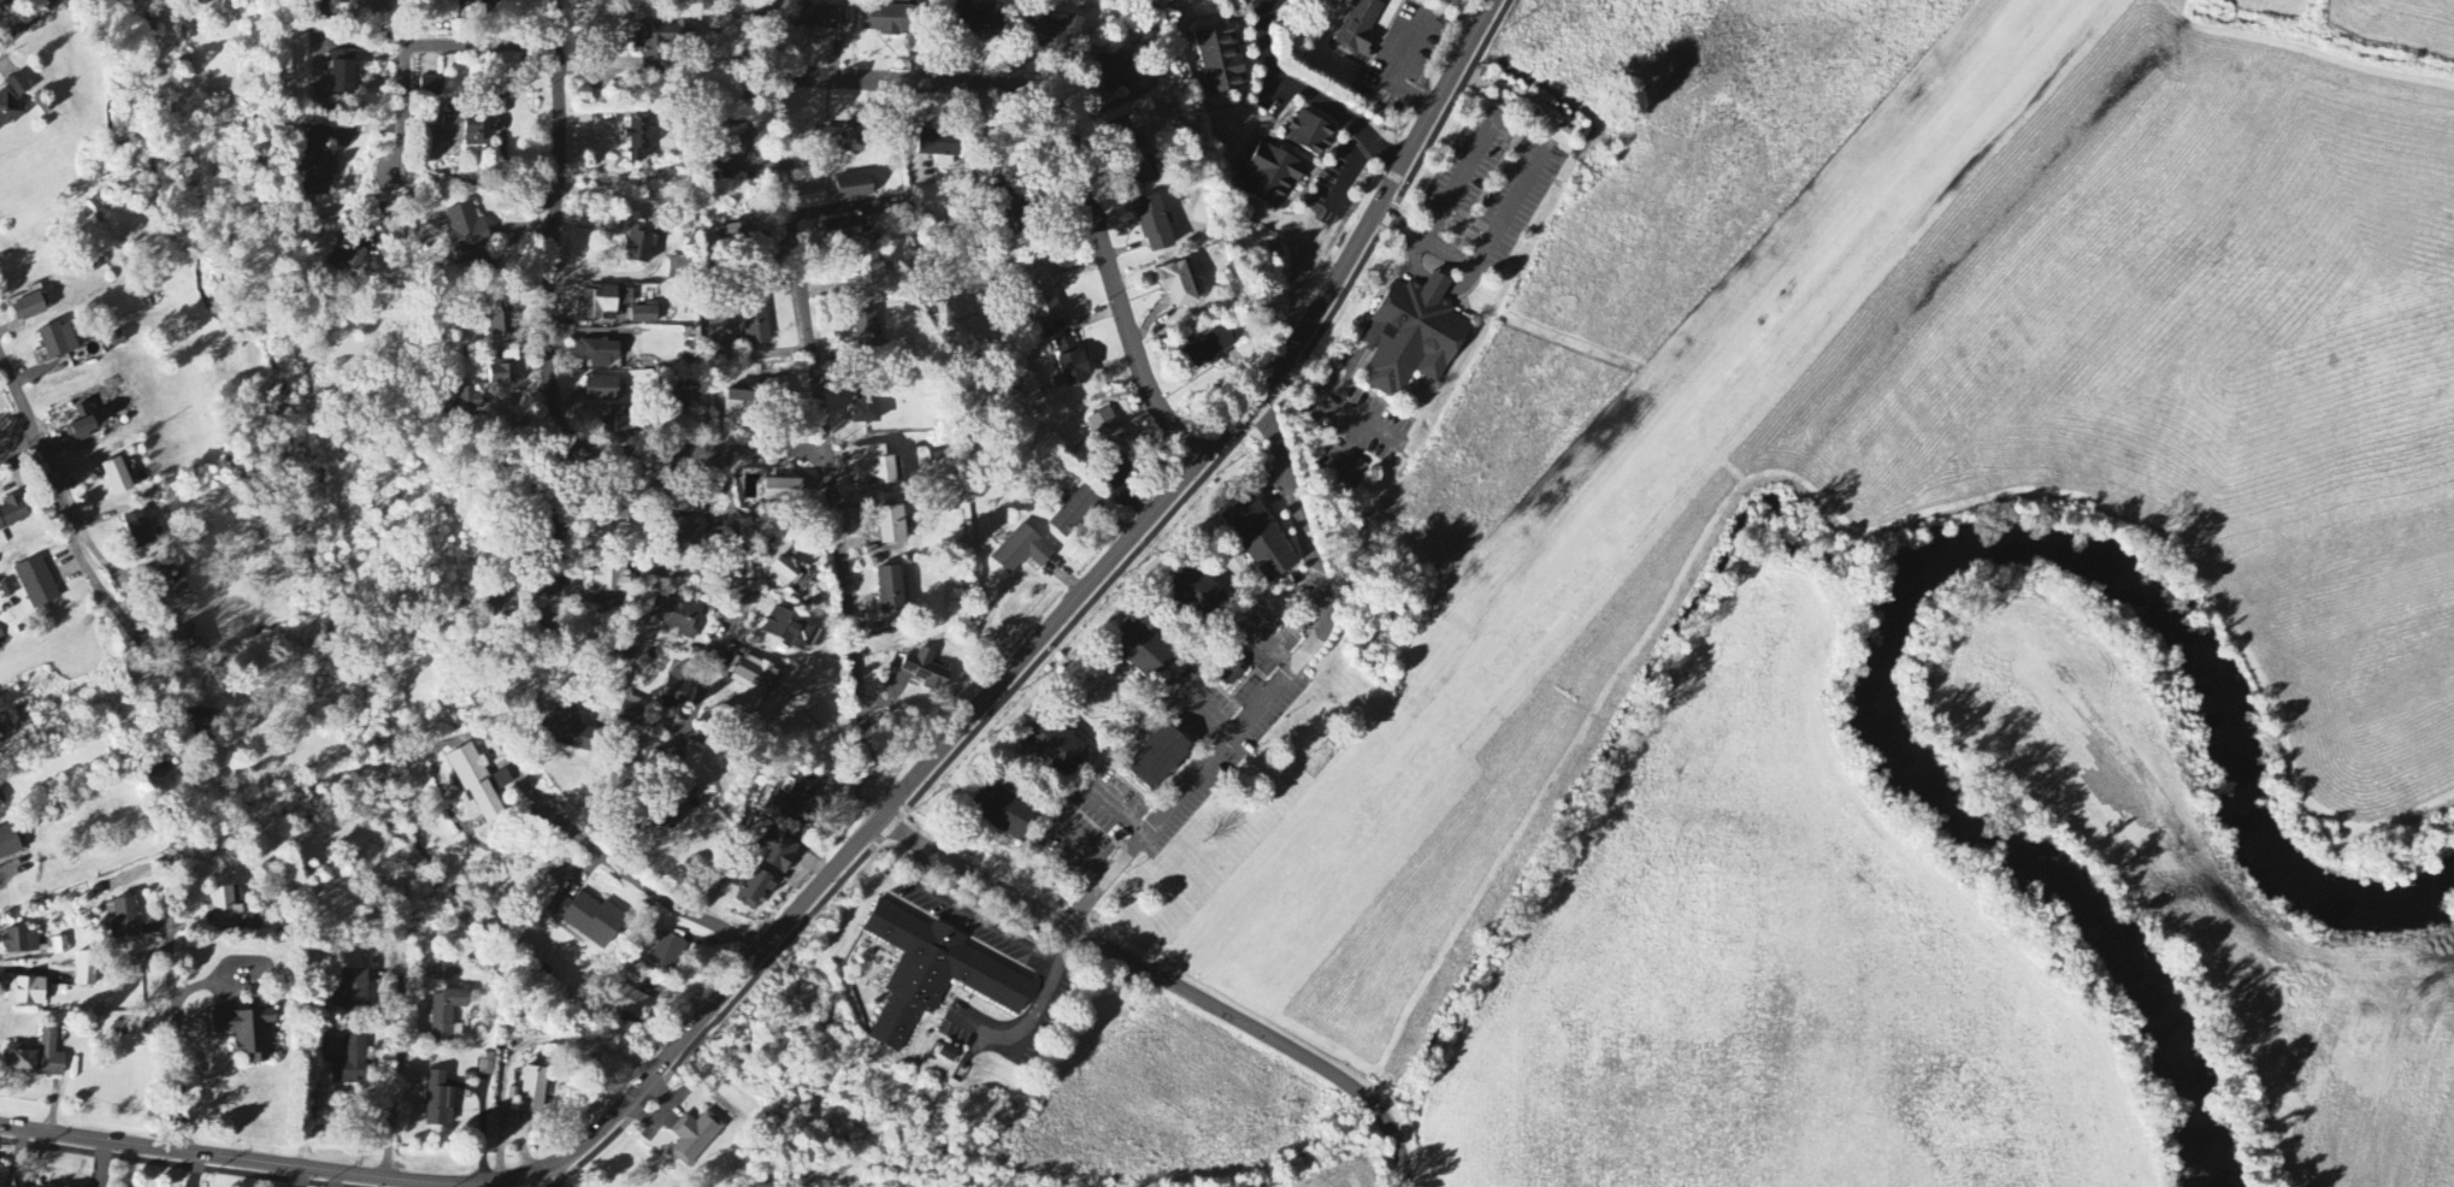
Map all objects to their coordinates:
building: (202, 1)
building: (478, 2)
building: (5, 4)
building: (368, 6)
building: (816, 18)
building: (890, 20)
road: (30, 23)
building: (985, 23)
building: (1361, 28)
building: (1054, 36)
building: (661, 42)
road: (420, 47)
building: (1220, 61)
building: (341, 73)
building: (1119, 78)
building: (431, 88)
road: (1309, 94)
building: (12, 100)
building: (465, 130)
building: (1310, 135)
building: (641, 138)
building: (843, 140)
building: (939, 147)
building: (1137, 159)
building: (315, 163)
road: (1060, 163)
building: (1270, 177)
building: (853, 188)
building: (1011, 219)
building: (1154, 225)
building: (466, 230)
building: (840, 231)
building: (738, 243)
building: (638, 244)
building: (347, 255)
building: (678, 264)
building: (872, 279)
building: (1176, 285)
building: (1039, 294)
building: (602, 303)
building: (30, 308)
building: (644, 317)
building: (501, 319)
building: (756, 320)
building: (867, 333)
building: (1411, 337)
building: (58, 342)
building: (1211, 348)
road: (548, 350)
building: (597, 354)
building: (1069, 362)
building: (503, 367)
building: (783, 388)
building: (601, 390)
building: (684, 400)
building: (464, 403)
building: (867, 406)
building: (737, 407)
road: (820, 408)
building: (619, 427)
building: (1107, 431)
road: (17, 454)
building: (875, 467)
building: (117, 478)
building: (783, 491)
airport runway: (1657, 494)
building: (1074, 512)
building: (12, 513)
building: (617, 514)
road: (66, 520)
road: (583, 520)
building: (891, 526)
building: (138, 531)
building: (682, 531)
building: (1258, 541)
building: (1021, 553)
building: (780, 565)
building: (612, 578)
building: (36, 584)
building: (538, 589)
building: (167, 590)
building: (890, 591)
building: (1197, 593)
road: (735, 603)
building: (676, 618)
road: (1074, 627)
building: (790, 631)
building: (1, 638)
building: (184, 643)
building: (1140, 650)
building: (926, 672)
building: (1232, 674)
building: (754, 678)
road: (1276, 687)
river: (2208, 691)
building: (674, 692)
building: (630, 716)
building: (202, 721)
building: (574, 736)
building: (1, 742)
building: (1055, 749)
building: (1158, 760)
building: (160, 768)
building: (476, 785)
building: (1, 798)
building: (795, 799)
building: (673, 808)
building: (1002, 811)
road: (877, 822)
building: (8, 844)
building: (778, 854)
road: (617, 866)
river: (2035, 879)
building: (755, 891)
building: (222, 905)
road: (971, 913)
building: (586, 919)
building: (123, 920)
building: (253, 923)
road: (1060, 941)
building: (20, 943)
building: (667, 953)
building: (84, 972)
building: (933, 975)
road: (1167, 981)
building: (354, 991)
building: (25, 993)
building: (631, 1004)
building: (447, 1015)
road: (177, 1035)
building: (246, 1035)
building: (49, 1056)
building: (19, 1063)
building: (349, 1064)
building: (486, 1065)
building: (532, 1092)
building: (438, 1103)
road: (312, 1105)
road: (396, 1120)
building: (694, 1139)
road: (165, 1163)
road: (550, 1180)
building: (26, 1186)

